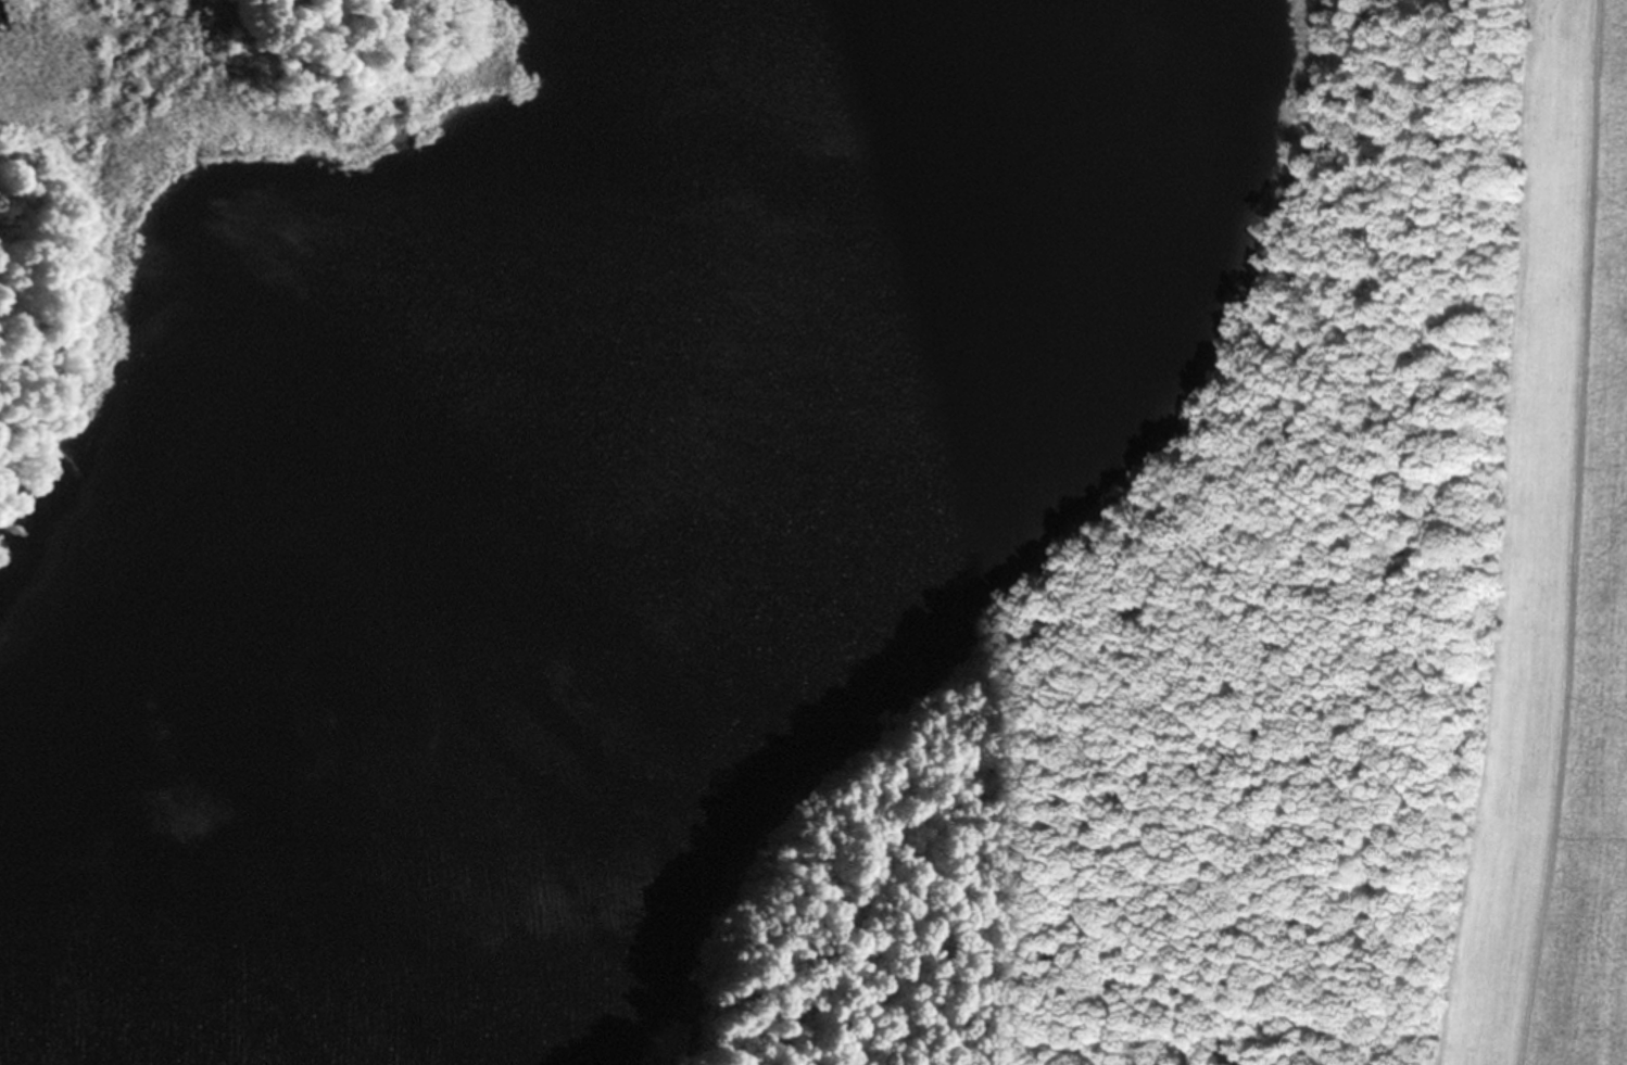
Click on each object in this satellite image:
road: (1574, 533)
crop: (1555, 589)

